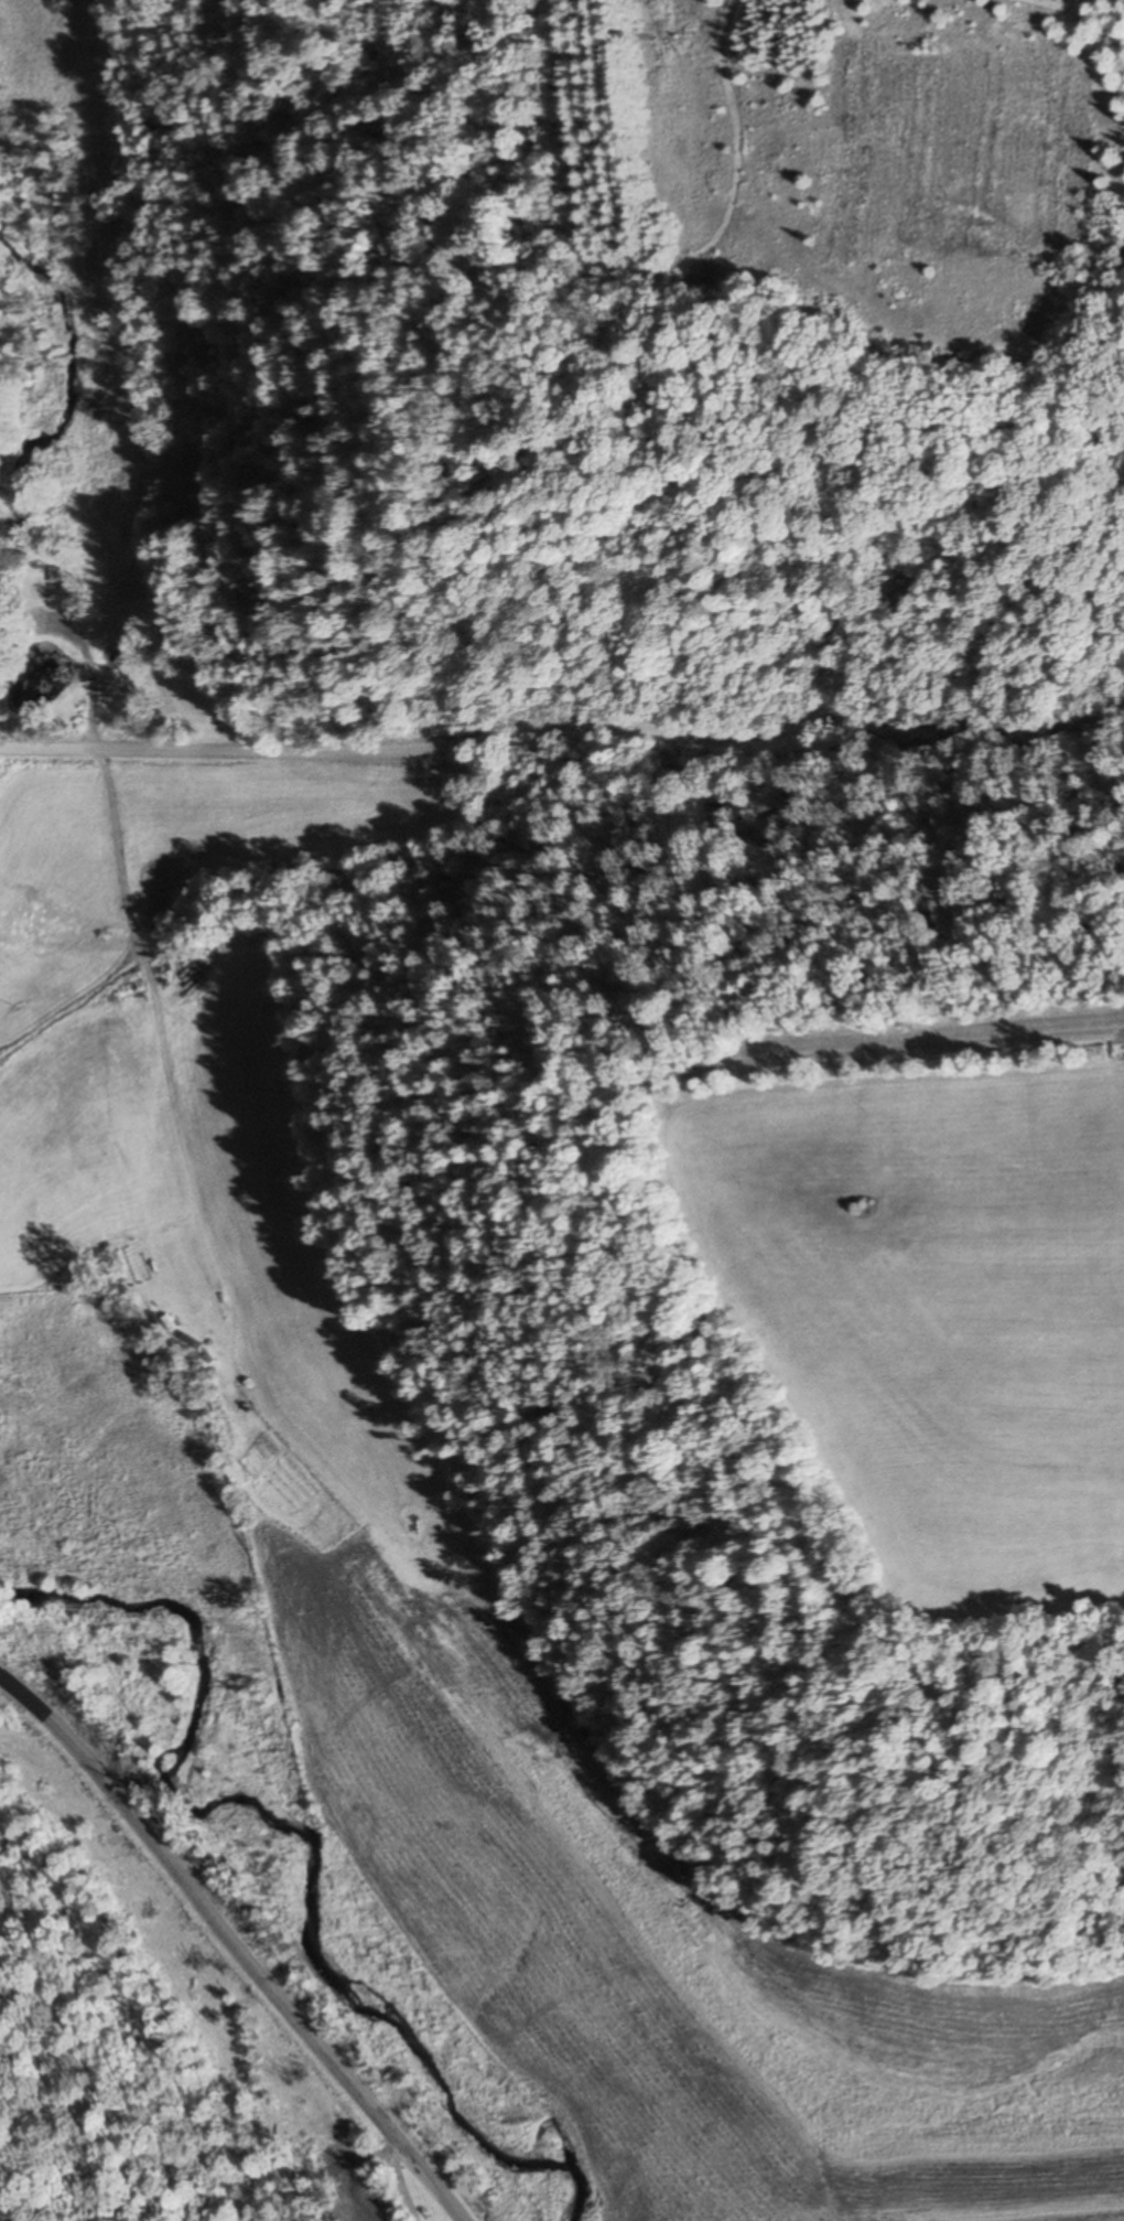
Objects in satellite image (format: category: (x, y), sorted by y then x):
building: (44, 590)
building: (181, 688)
road: (561, 722)
road: (236, 1945)

